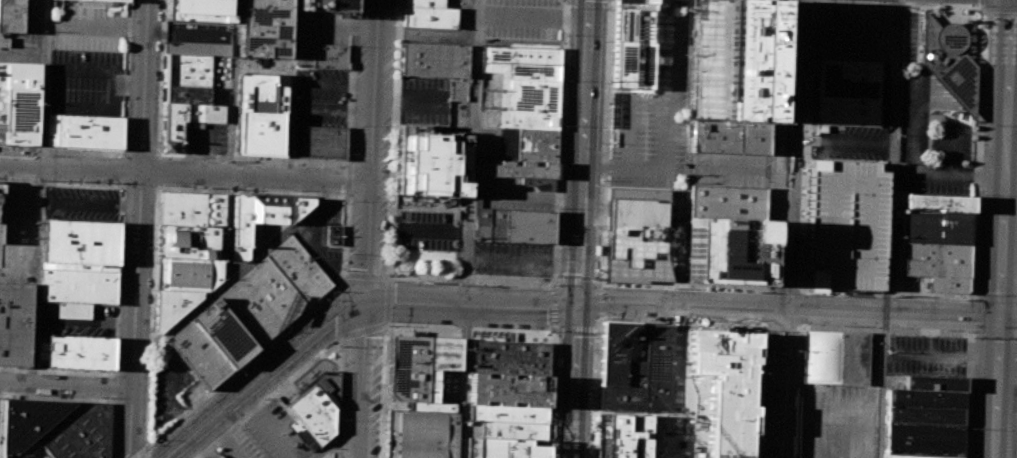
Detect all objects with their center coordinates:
building: (112, 0)
road: (811, 0)
street lamp: (569, 1)
street lamp: (814, 2)
street lamp: (909, 2)
building: (424, 3)
road: (984, 3)
building: (325, 4)
street lamp: (778, 5)
street lamp: (980, 5)
road: (1000, 8)
building: (201, 10)
street lamp: (609, 10)
building: (11, 16)
building: (428, 17)
parking lot: (463, 17)
parking lot: (522, 18)
street lamp: (986, 20)
parking lot: (85, 27)
building: (264, 28)
building: (733, 28)
parking lot: (319, 31)
parking lot: (851, 33)
parking lot: (909, 35)
parking lot: (27, 36)
parking lot: (199, 37)
building: (632, 44)
street lamp: (395, 45)
street lamp: (355, 46)
road: (674, 49)
building: (520, 55)
building: (330, 56)
building: (433, 59)
road: (661, 61)
street lamp: (161, 62)
building: (950, 62)
building: (521, 71)
street lamp: (775, 75)
parking lot: (86, 82)
road: (43, 84)
road: (233, 89)
parking lot: (730, 89)
road: (289, 90)
road: (961, 90)
road: (995, 91)
building: (848, 92)
building: (531, 96)
parking lot: (320, 97)
building: (188, 98)
parking lot: (432, 100)
building: (19, 102)
building: (260, 114)
parking lot: (489, 115)
road: (688, 118)
building: (529, 120)
street lamp: (390, 122)
parking lot: (651, 123)
street lamp: (352, 126)
street lamp: (982, 126)
street lamp: (564, 127)
street lamp: (603, 130)
parking lot: (953, 130)
building: (84, 131)
road: (950, 131)
road: (626, 135)
parking lot: (206, 137)
building: (729, 137)
road: (124, 138)
road: (840, 140)
building: (319, 142)
parking lot: (855, 143)
street lamp: (993, 144)
building: (536, 145)
road: (371, 152)
road: (123, 155)
road: (665, 156)
road: (256, 160)
building: (428, 162)
road: (913, 163)
road: (123, 169)
parking lot: (728, 169)
building: (520, 172)
road: (185, 175)
road: (348, 179)
street lamp: (770, 180)
road: (61, 181)
street lamp: (118, 183)
road: (122, 183)
road: (123, 184)
road: (155, 185)
building: (0, 193)
parking lot: (512, 194)
street lamp: (391, 195)
street lamp: (980, 197)
street lamp: (347, 202)
building: (727, 202)
building: (938, 202)
parking lot: (81, 203)
building: (192, 209)
road: (155, 221)
building: (259, 221)
parking lot: (427, 222)
building: (845, 222)
parking lot: (845, 222)
building: (514, 224)
parking lot: (16, 225)
railway: (597, 225)
street lamp: (284, 227)
building: (935, 227)
road: (466, 228)
road: (785, 228)
road: (1002, 228)
road: (139, 229)
railway: (572, 229)
road: (582, 229)
railway: (589, 229)
road: (889, 229)
building: (638, 233)
building: (333, 234)
parking lot: (321, 238)
building: (190, 241)
road: (1009, 246)
street lamp: (156, 248)
street lamp: (558, 250)
street lamp: (598, 250)
building: (725, 251)
street lamp: (769, 255)
parking lot: (513, 257)
street lamp: (345, 258)
building: (78, 262)
street lamp: (390, 265)
building: (939, 265)
building: (298, 269)
building: (184, 273)
road: (357, 275)
road: (34, 276)
street lamp: (392, 276)
road: (474, 279)
parking lot: (78, 286)
road: (685, 286)
road: (782, 289)
street lamp: (974, 294)
road: (995, 297)
building: (261, 301)
road: (599, 302)
road: (630, 302)
road: (474, 304)
traffic signals: (369, 305)
building: (170, 306)
road: (553, 307)
road: (765, 307)
road: (799, 307)
road: (839, 309)
building: (14, 316)
traffic signals: (998, 316)
road: (1007, 316)
parking lot: (77, 319)
road: (677, 320)
road: (781, 325)
street lamp: (838, 326)
road: (883, 328)
road: (465, 330)
street lamp: (943, 330)
street lamp: (151, 331)
road: (362, 331)
road: (977, 332)
building: (223, 333)
road: (116, 336)
road: (277, 336)
railway: (560, 337)
street lamp: (973, 340)
street lamp: (338, 346)
building: (615, 350)
building: (80, 352)
building: (442, 353)
road: (680, 353)
building: (198, 354)
building: (835, 356)
parking lot: (927, 356)
building: (507, 358)
street lamp: (797, 363)
building: (406, 368)
building: (658, 368)
street lamp: (230, 369)
road: (263, 375)
road: (366, 381)
road: (66, 385)
parking lot: (172, 386)
parking lot: (441, 386)
building: (506, 390)
building: (625, 391)
street lamp: (266, 395)
parking lot: (843, 395)
street lamp: (37, 397)
road: (85, 397)
road: (268, 397)
road: (338, 398)
building: (723, 402)
building: (316, 406)
building: (506, 413)
building: (926, 417)
building: (24, 421)
street lamp: (145, 426)
building: (510, 430)
building: (421, 431)
street lamp: (971, 431)
building: (81, 435)
parking lot: (269, 435)
road: (337, 435)
street lamp: (158, 437)
parking lot: (836, 439)
street lamp: (551, 446)
building: (504, 448)
road: (140, 452)
road: (147, 452)
parking lot: (38, 454)
building: (216, 456)
building: (911, 456)

